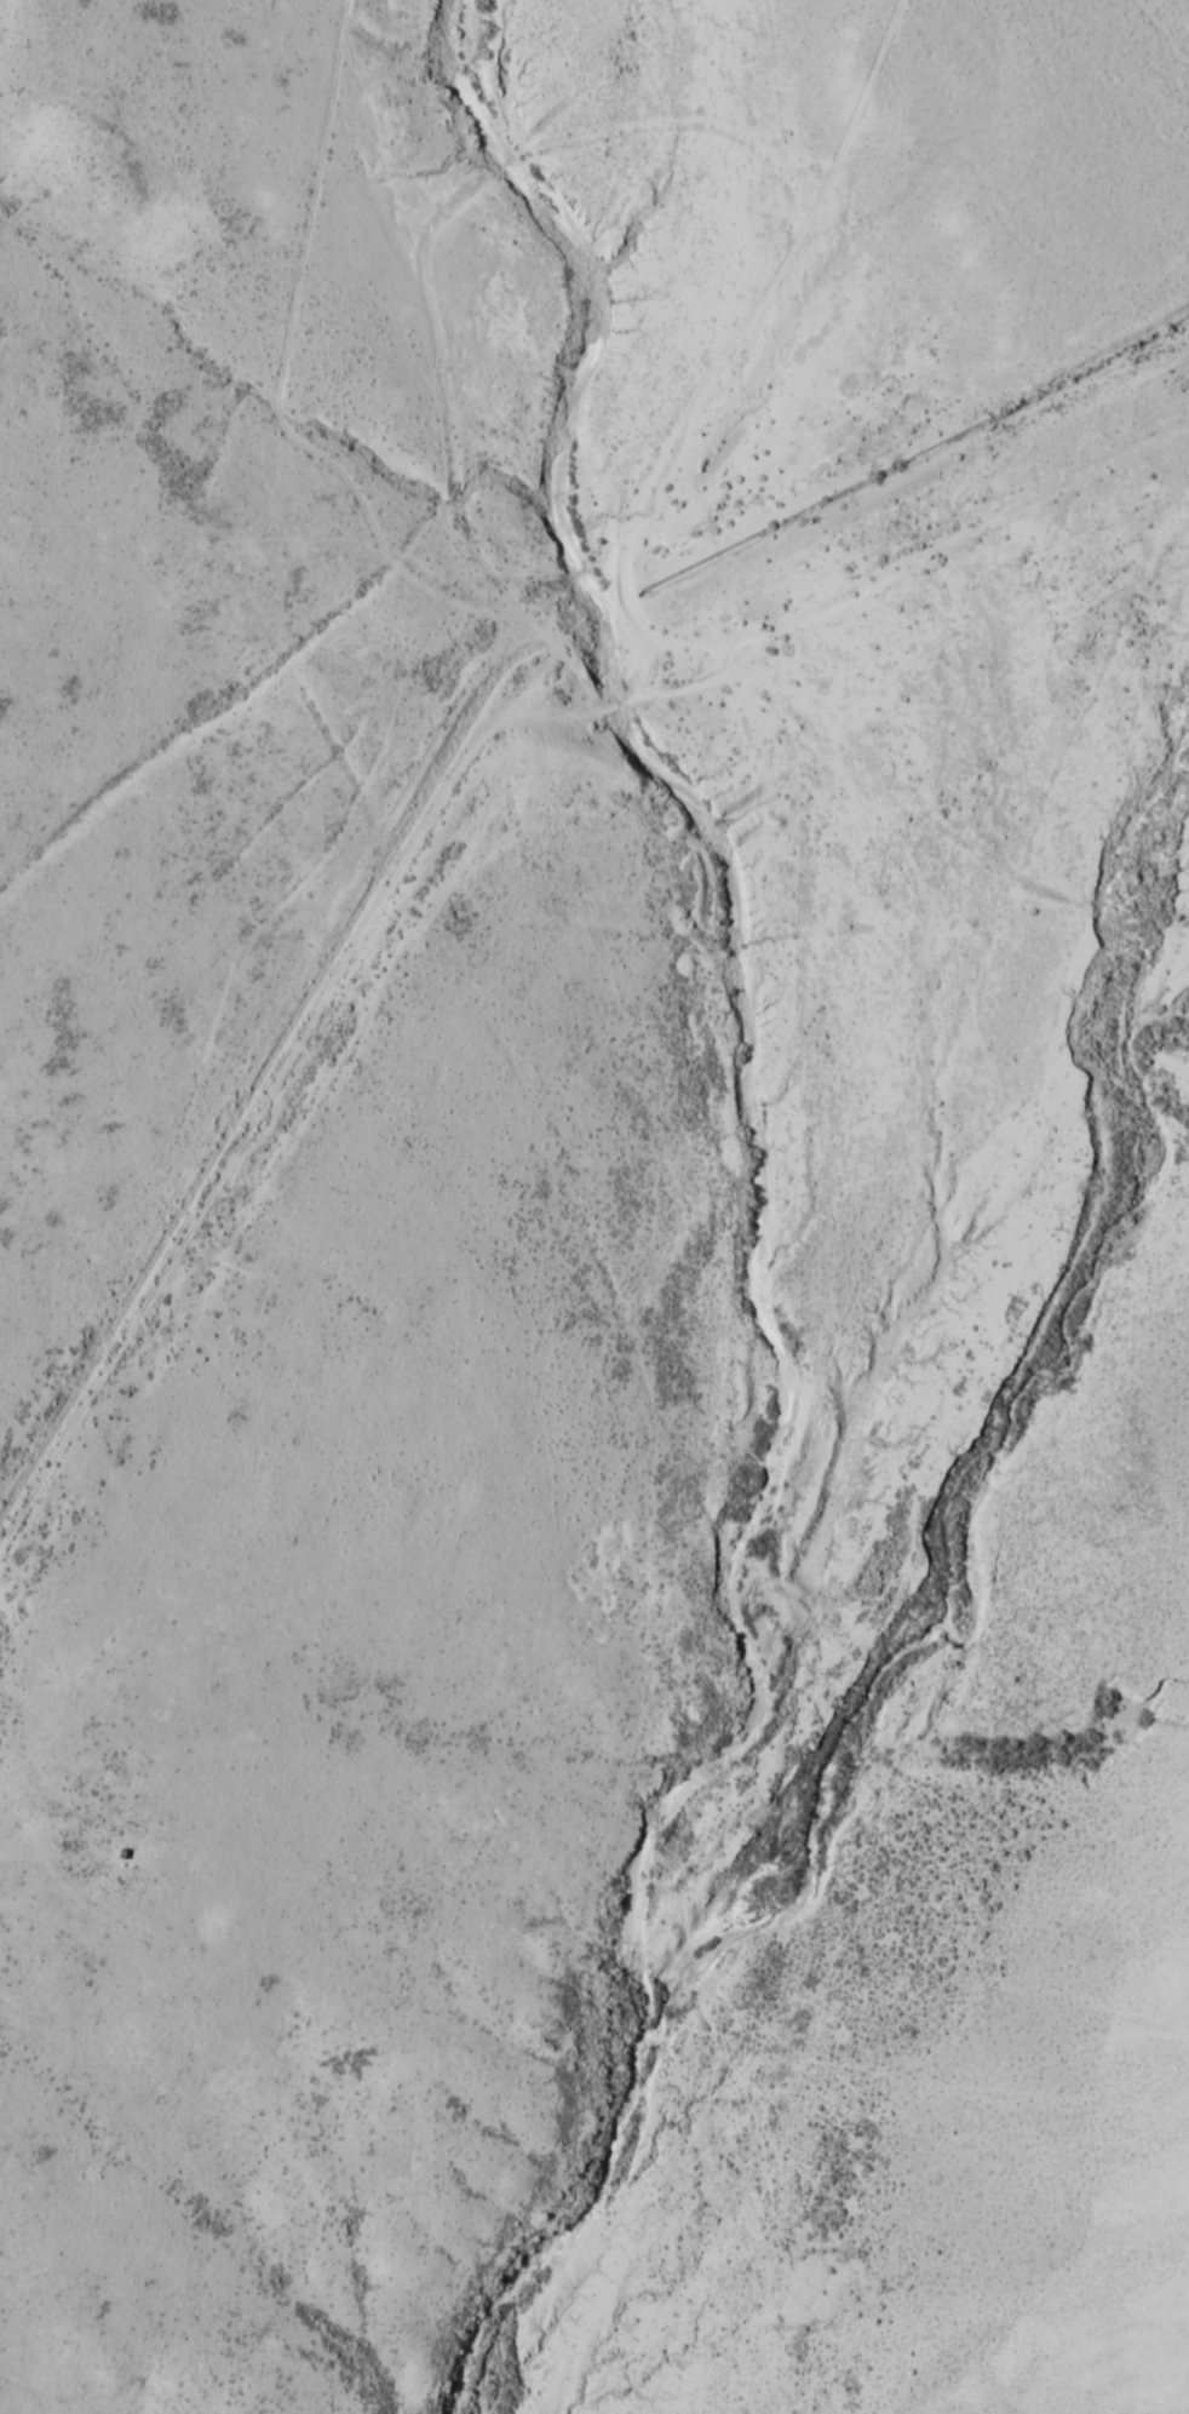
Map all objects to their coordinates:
road: (958, 299)
road: (742, 369)
road: (654, 547)
road: (455, 933)
river: (553, 2218)

